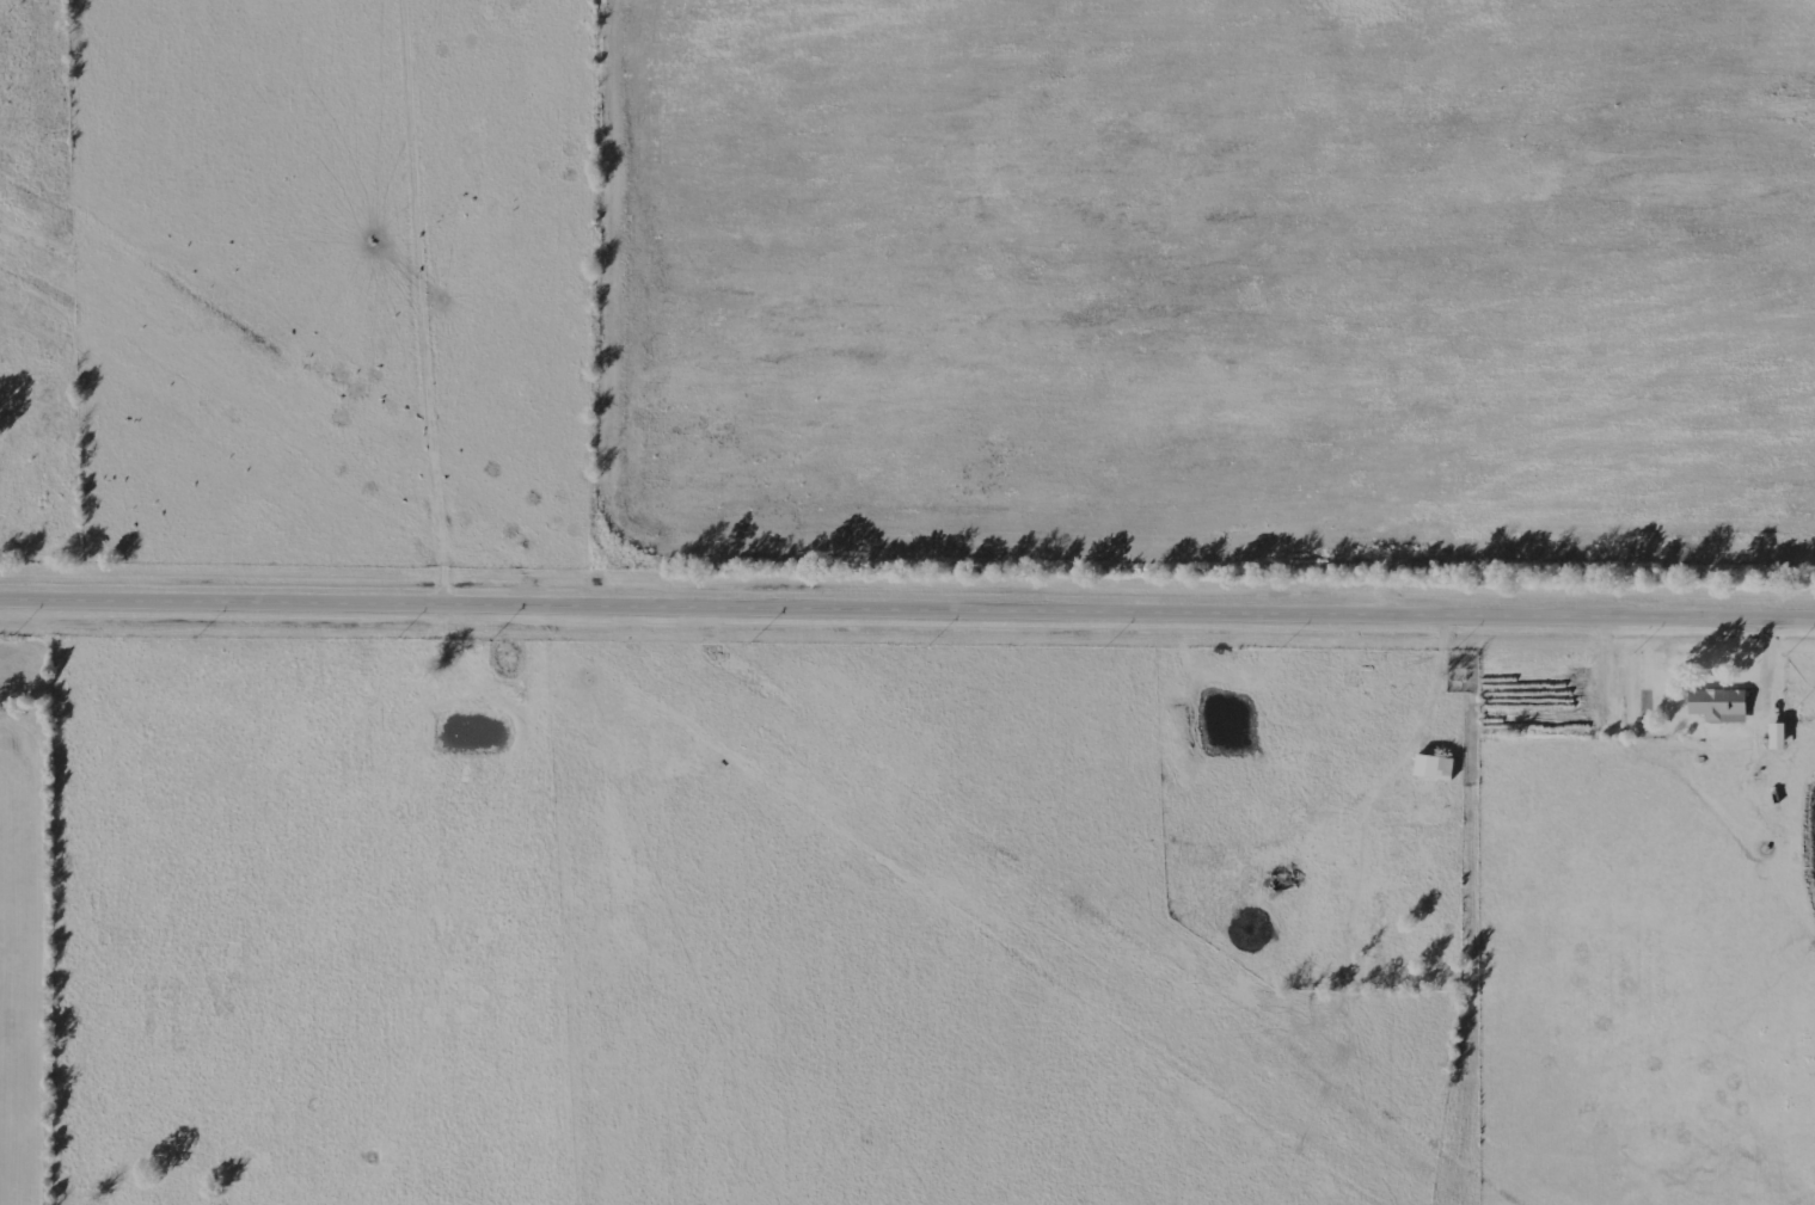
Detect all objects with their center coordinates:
road: (907, 616)
building: (1718, 705)
building: (1778, 736)
building: (1434, 767)
building: (1335, 830)

